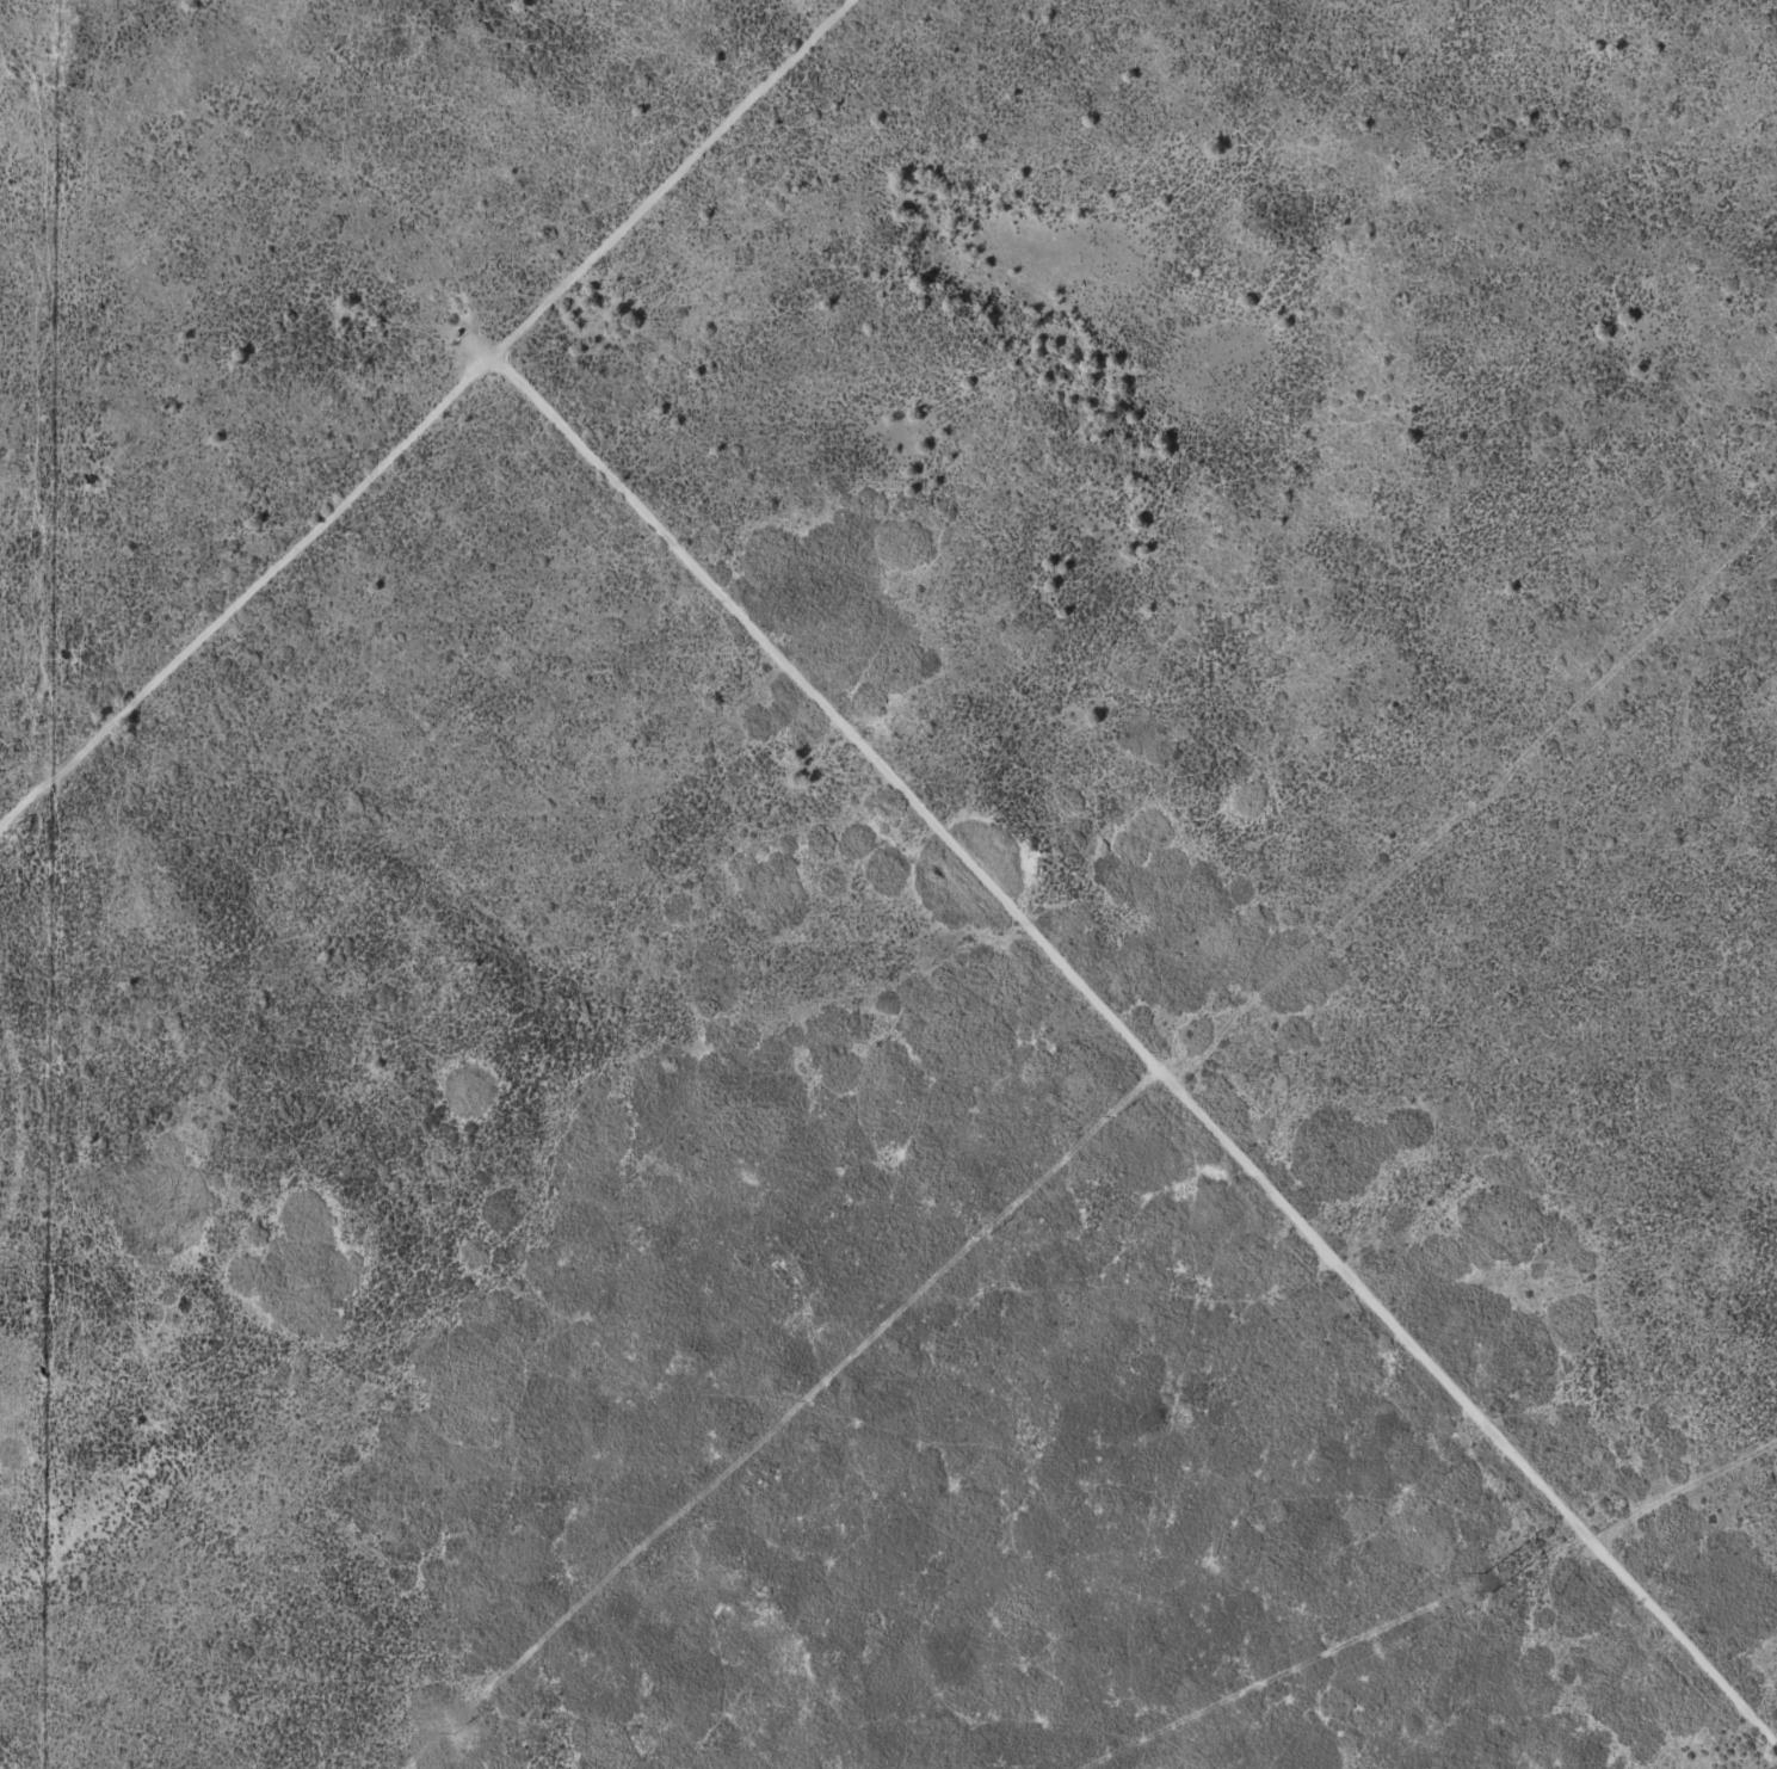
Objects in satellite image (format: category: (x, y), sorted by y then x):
power tower: (1485, 1579)

